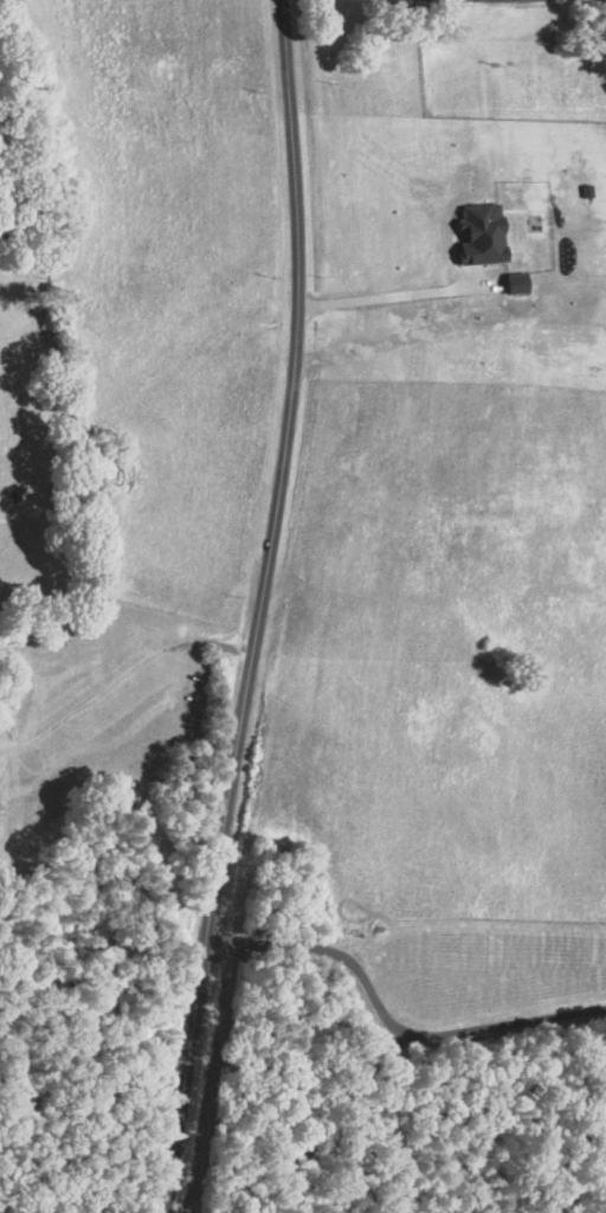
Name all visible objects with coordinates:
building: (582, 187)
building: (479, 229)
building: (514, 280)
road: (383, 299)
road: (259, 608)
road: (385, 1020)

